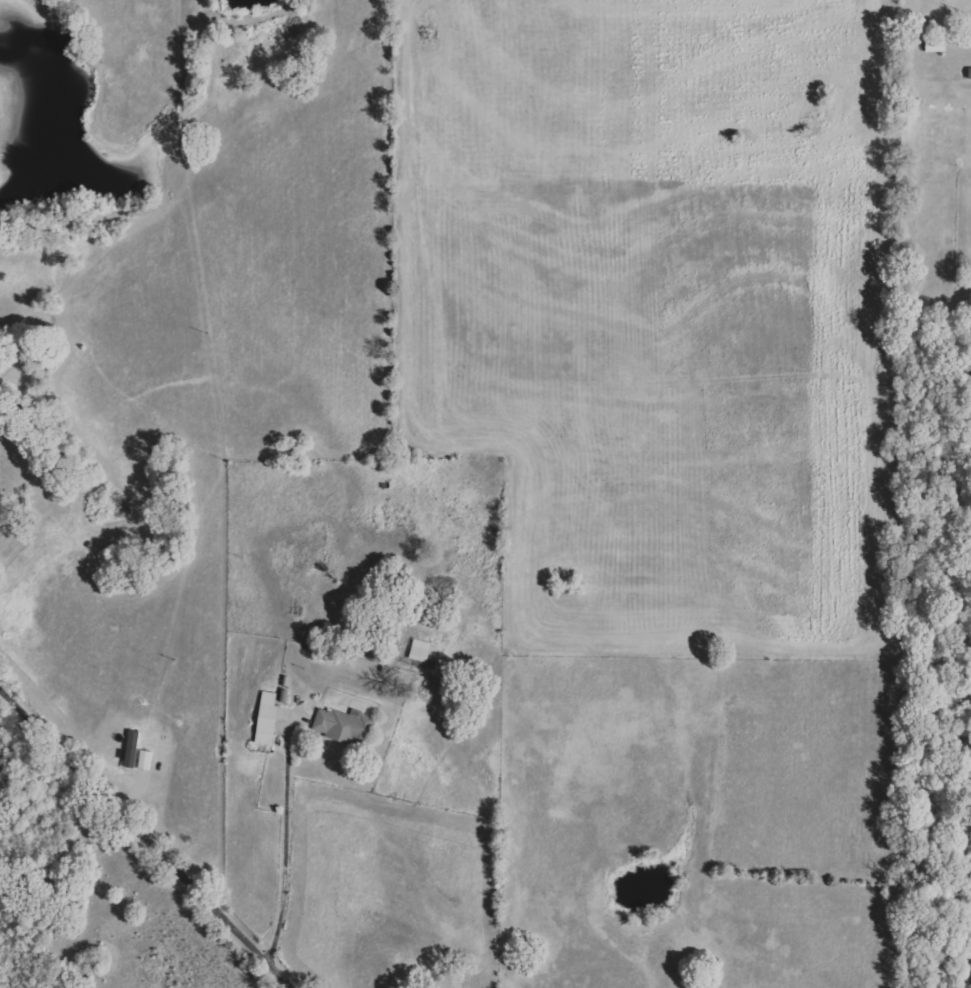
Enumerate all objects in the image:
building: (423, 650)
building: (271, 719)
building: (344, 725)
building: (135, 749)
building: (148, 760)
road: (147, 840)
road: (286, 846)

